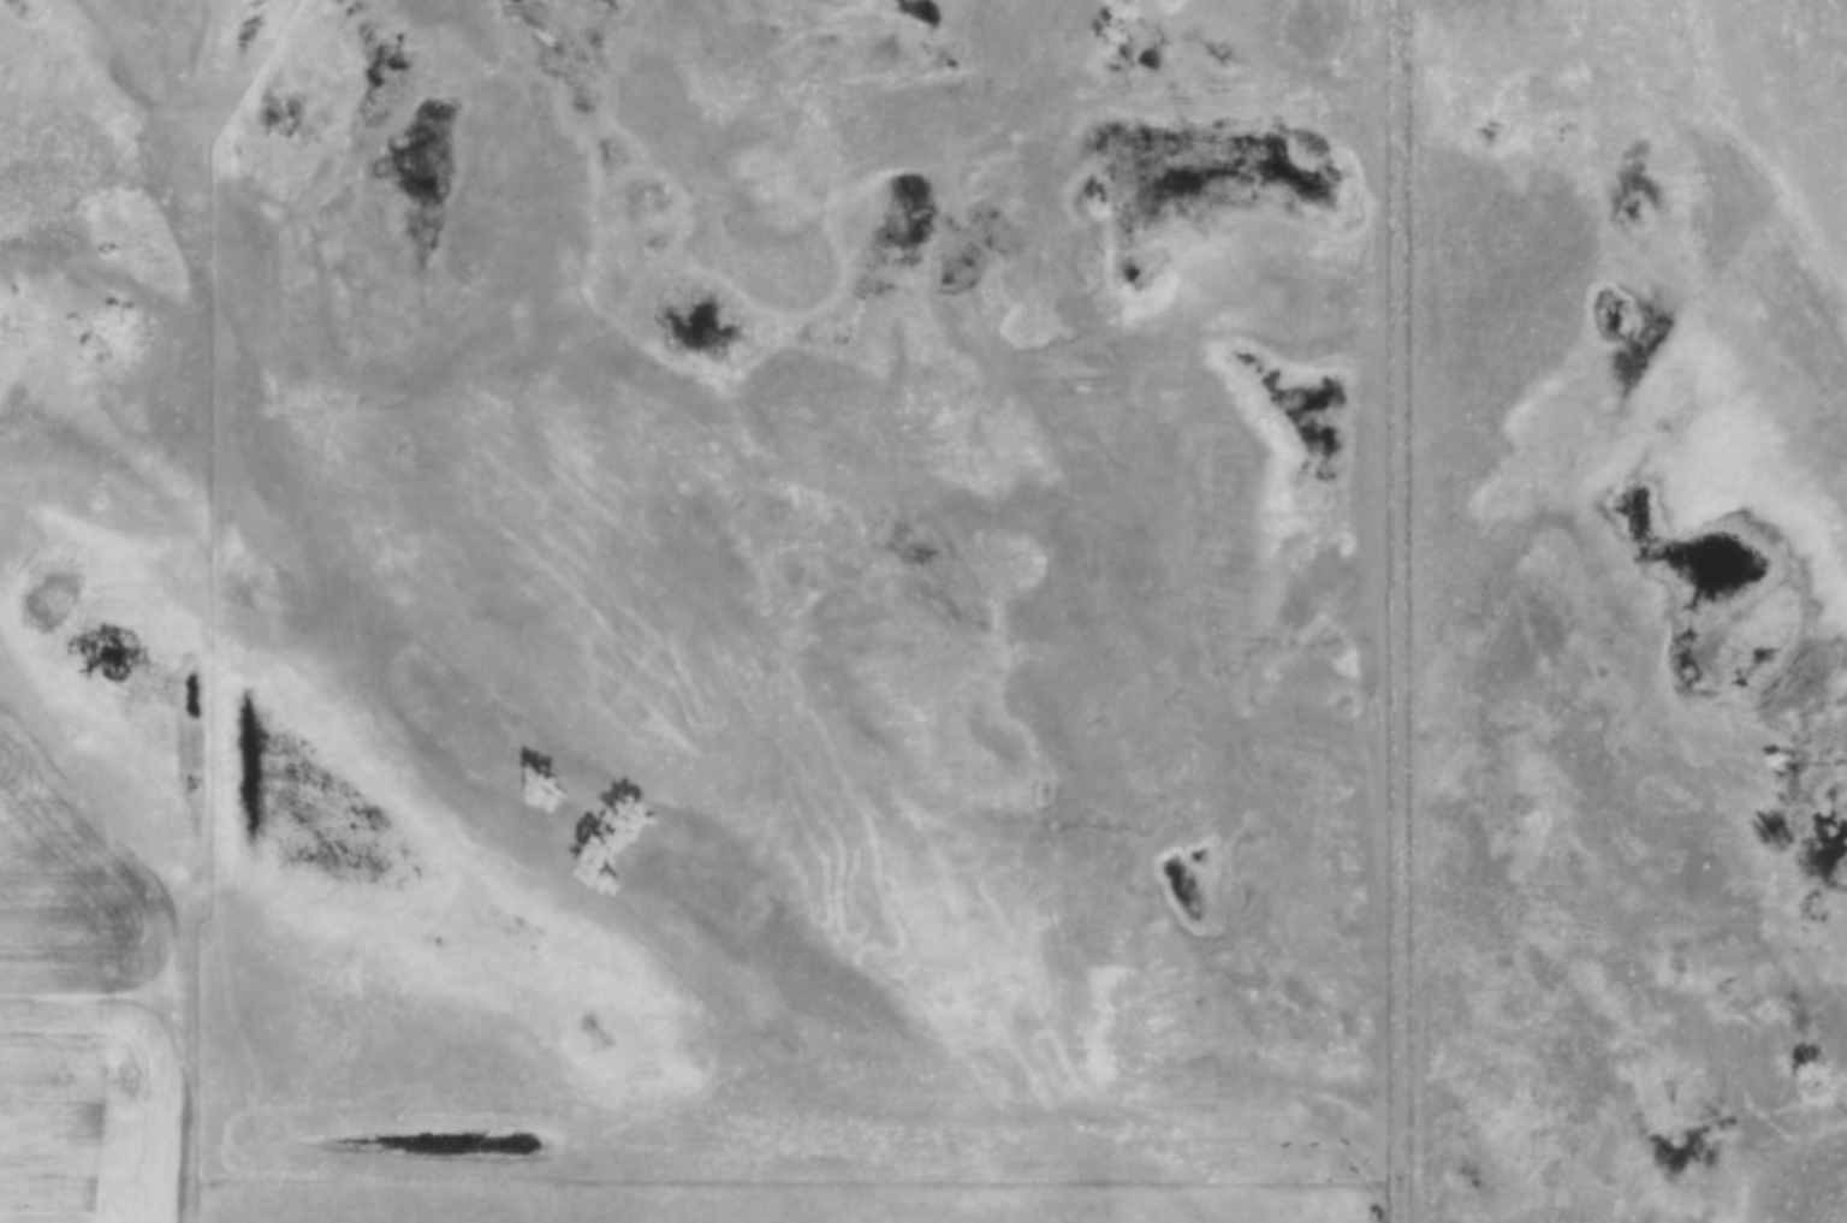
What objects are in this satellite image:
road: (1403, 611)

